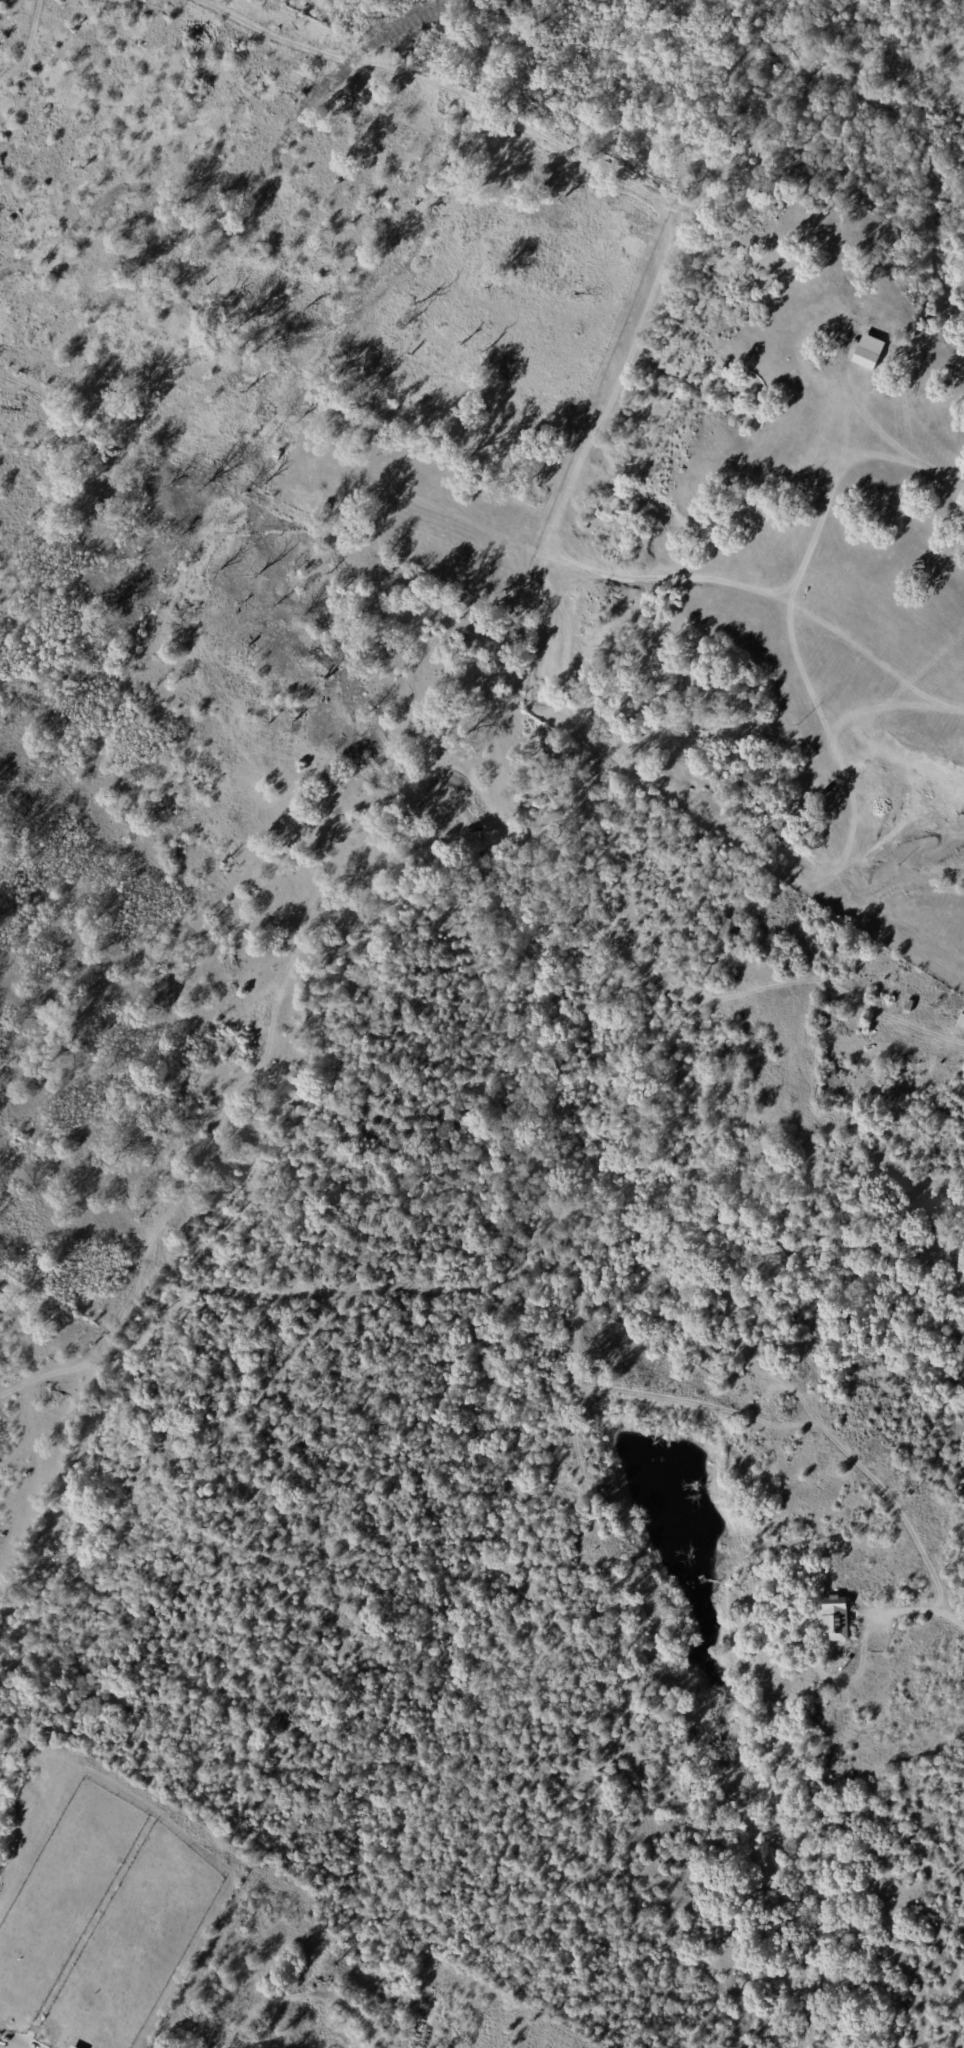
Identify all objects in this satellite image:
building: (869, 351)
building: (904, 383)
building: (862, 391)
building: (804, 423)
road: (911, 448)
building: (706, 463)
building: (799, 476)
building: (848, 569)
building: (938, 622)
building: (961, 684)
building: (701, 835)
building: (727, 929)
building: (709, 963)
road: (807, 976)
building: (824, 1013)
building: (835, 1076)
building: (871, 1086)
road: (928, 1612)
building: (833, 1619)

